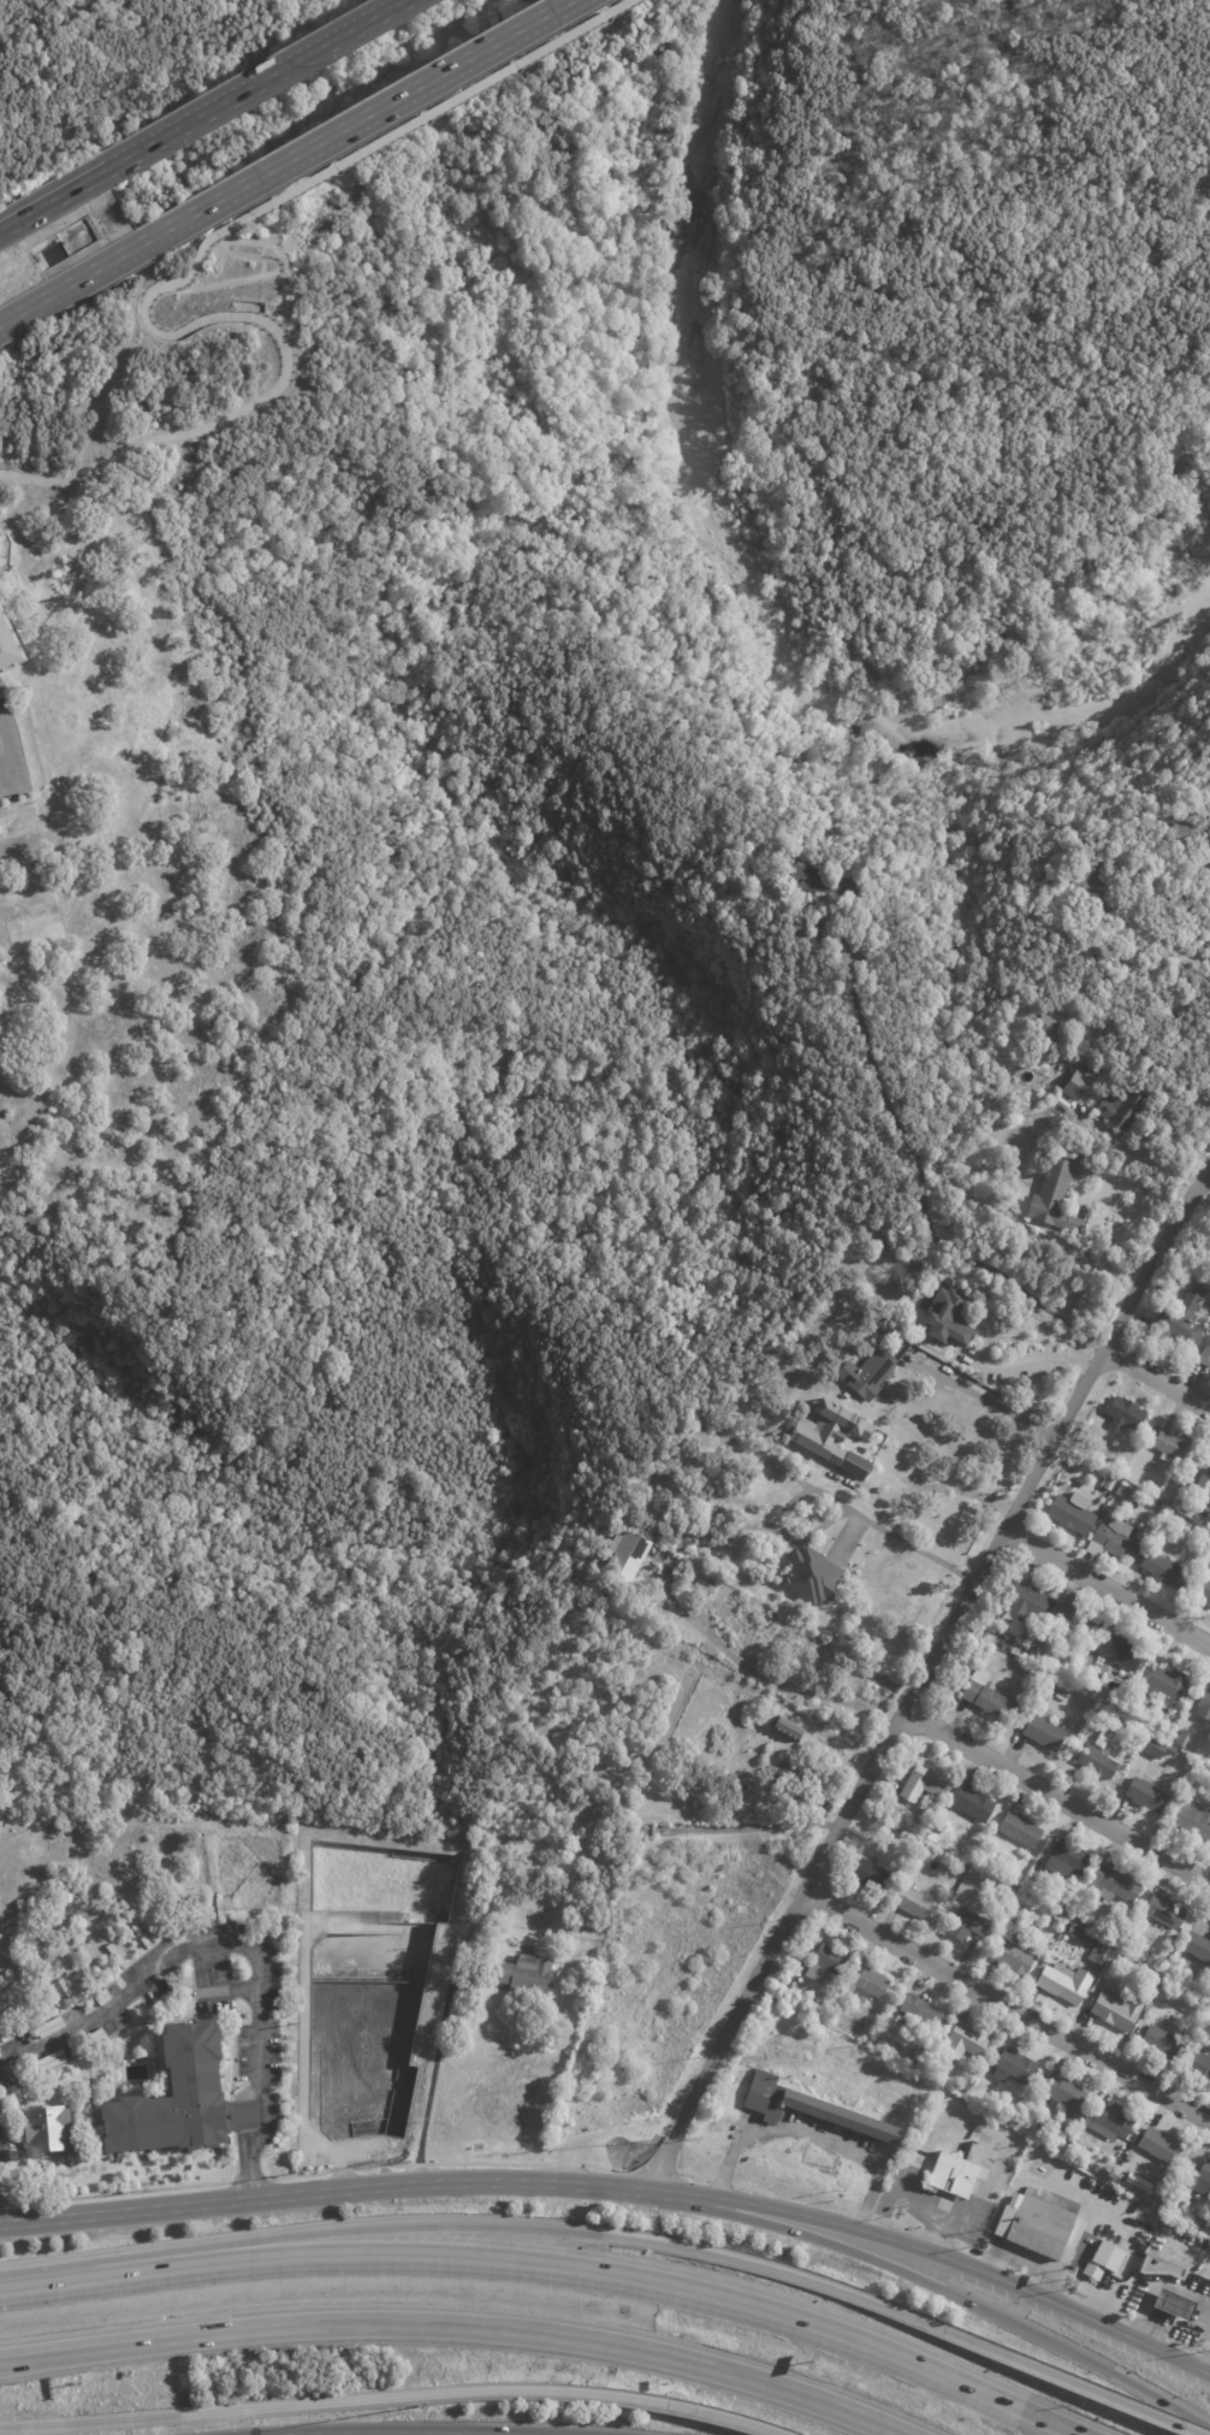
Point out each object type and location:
road: (785, 17)
road: (254, 84)
road: (358, 85)
road: (423, 114)
road: (363, 117)
road: (53, 199)
road: (637, 231)
road: (232, 253)
road: (78, 278)
road: (766, 301)
road: (285, 370)
road: (565, 480)
road: (650, 512)
road: (924, 560)
building: (8, 648)
road: (6, 770)
road: (884, 775)
building: (1192, 833)
building: (1096, 871)
building: (819, 881)
building: (1182, 900)
building: (802, 927)
building: (1111, 942)
road: (1178, 945)
building: (813, 948)
building: (1120, 953)
building: (215, 1018)
building: (1051, 1028)
building: (1067, 1052)
building: (1076, 1086)
building: (1126, 1106)
road: (509, 1148)
road: (1131, 1149)
road: (1206, 1169)
road: (918, 1183)
building: (1060, 1194)
road: (1170, 1223)
building: (1209, 1239)
building: (1174, 1279)
park: (368, 1314)
building: (950, 1316)
building: (1182, 1322)
road: (1037, 1353)
building: (1205, 1357)
building: (874, 1370)
road: (1156, 1372)
building: (846, 1397)
road: (990, 1400)
building: (1127, 1413)
building: (832, 1436)
building: (1174, 1446)
building: (1206, 1465)
building: (1196, 1480)
building: (759, 1483)
building: (1209, 1483)
building: (1155, 1488)
building: (1126, 1490)
road: (835, 1496)
building: (1179, 1503)
building: (1108, 1508)
building: (1074, 1512)
building: (1156, 1521)
building: (1115, 1539)
building: (1209, 1548)
building: (621, 1554)
building: (1167, 1571)
building: (813, 1578)
road: (1105, 1586)
building: (1204, 1589)
building: (1027, 1597)
building: (1072, 1617)
building: (1044, 1636)
building: (1121, 1650)
road: (731, 1651)
building: (1087, 1668)
building: (1169, 1682)
building: (1064, 1691)
building: (989, 1697)
building: (1204, 1706)
building: (1103, 1713)
building: (1045, 1731)
building: (794, 1732)
building: (1143, 1734)
building: (1102, 1739)
building: (1184, 1739)
road: (885, 1740)
building: (1158, 1748)
building: (1099, 1761)
building: (794, 1778)
building: (925, 1781)
building: (1173, 1792)
building: (1147, 1795)
road: (1056, 1797)
building: (974, 1802)
building: (894, 1812)
building: (1193, 1819)
building: (1021, 1830)
building: (517, 1837)
building: (1067, 1857)
building: (957, 1869)
building: (870, 1875)
building: (1115, 1885)
building: (1016, 1887)
building: (1031, 1890)
building: (914, 1903)
building: (1014, 1905)
building: (1001, 1907)
building: (1026, 1908)
building: (1167, 1910)
building: (1072, 1917)
building: (1037, 1919)
building: (968, 1925)
building: (1057, 1933)
building: (1075, 1933)
building: (1113, 1939)
building: (1179, 1939)
building: (1089, 1940)
building: (1049, 1944)
building: (1198, 1946)
building: (1099, 1955)
road: (177, 1957)
building: (1015, 1957)
building: (828, 1963)
parking lot: (207, 1970)
building: (522, 1976)
building: (1152, 1976)
building: (1066, 1982)
building: (867, 1986)
road: (1009, 2003)
building: (1117, 2009)
building: (921, 2013)
building: (0, 2039)
building: (965, 2040)
building: (1162, 2041)
parking lot: (268, 2051)
parking lot: (241, 2052)
building: (1200, 2065)
building: (1015, 2067)
road: (431, 2070)
building: (968, 2087)
building: (965, 2093)
building: (177, 2100)
building: (1063, 2100)
building: (808, 2106)
building: (1110, 2121)
building: (42, 2130)
road: (812, 2132)
road: (255, 2141)
road: (12, 2143)
building: (1157, 2145)
road: (490, 2163)
building: (954, 2171)
building: (1107, 2175)
building: (1197, 2180)
building: (1137, 2182)
road: (147, 2189)
road: (324, 2193)
building: (1014, 2199)
road: (914, 2200)
road: (1110, 2214)
road: (1083, 2217)
road: (1002, 2224)
building: (1039, 2224)
building: (1204, 2227)
road: (541, 2230)
road: (1027, 2256)
road: (366, 2258)
road: (937, 2258)
building: (1103, 2258)
building: (1159, 2264)
road: (65, 2279)
road: (939, 2288)
building: (1174, 2303)
road: (1140, 2305)
road: (1146, 2327)
road: (452, 2328)
road: (841, 2338)
road: (1209, 2374)
road: (1067, 2384)
road: (332, 2404)
street lamp: (415, 2406)
road: (722, 2417)
road: (569, 2430)
road: (370, 2434)

